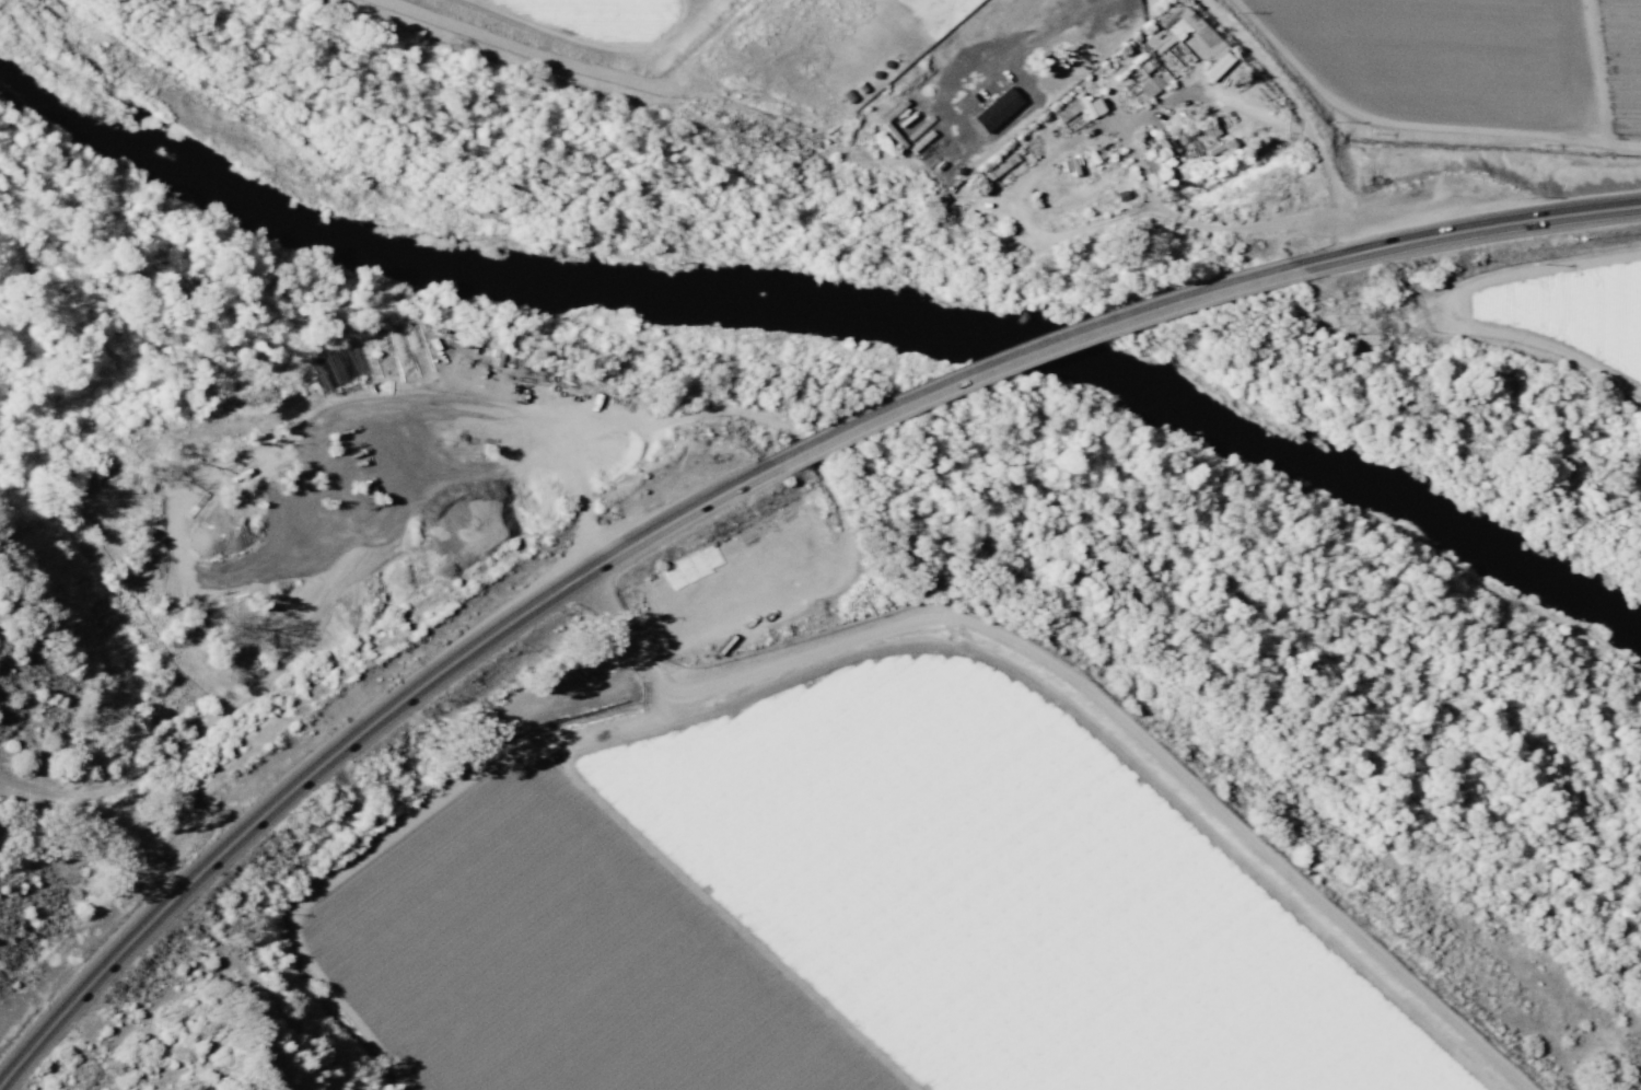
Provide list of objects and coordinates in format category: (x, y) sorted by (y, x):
crop: (535, 19)
crop: (1482, 60)
building: (1148, 81)
building: (994, 108)
building: (1076, 108)
road: (1283, 124)
building: (1183, 143)
building: (998, 166)
road: (1467, 222)
crop: (1573, 321)
road: (1032, 348)
road: (354, 730)
crop: (836, 878)

